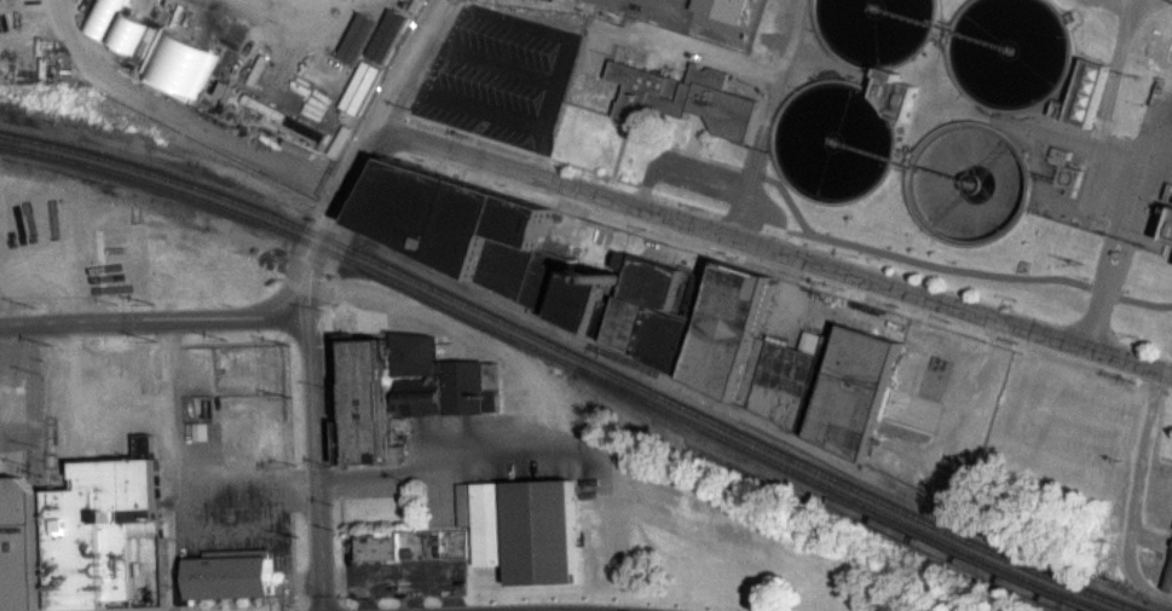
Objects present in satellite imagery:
building: (726, 13)
road: (273, 15)
building: (388, 45)
building: (179, 74)
road: (783, 79)
building: (900, 94)
building: (1084, 94)
building: (685, 97)
road: (1110, 100)
wastewater plant: (688, 116)
road: (173, 125)
building: (316, 143)
building: (1067, 180)
road: (1143, 183)
road: (747, 196)
road: (1125, 234)
building: (1170, 236)
building: (1171, 246)
road: (773, 247)
road: (305, 289)
building: (642, 306)
road: (1098, 316)
road: (152, 319)
road: (236, 341)
road: (331, 351)
railway: (561, 358)
railway: (548, 365)
road: (168, 370)
building: (408, 391)
road: (976, 392)
road: (69, 422)
road: (289, 462)
road: (210, 489)
railway: (810, 501)
road: (239, 528)
building: (523, 528)
building: (106, 534)
building: (19, 546)
road: (167, 546)
building: (376, 547)
building: (230, 573)
building: (1168, 587)
road: (215, 606)

